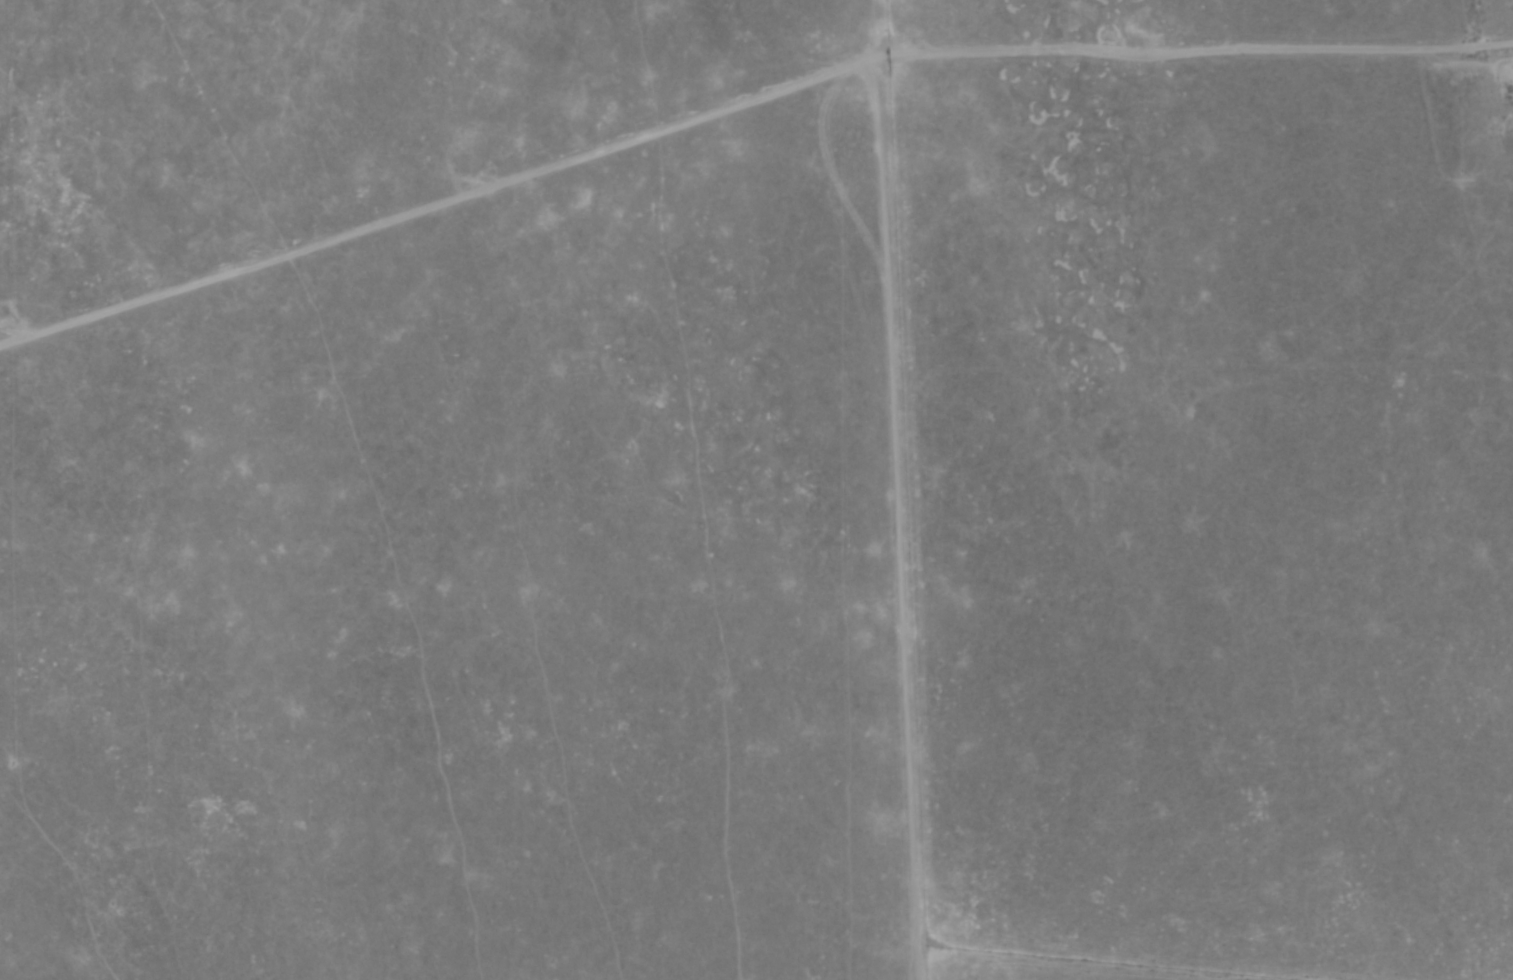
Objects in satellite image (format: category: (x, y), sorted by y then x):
road: (739, 109)
road: (899, 489)

